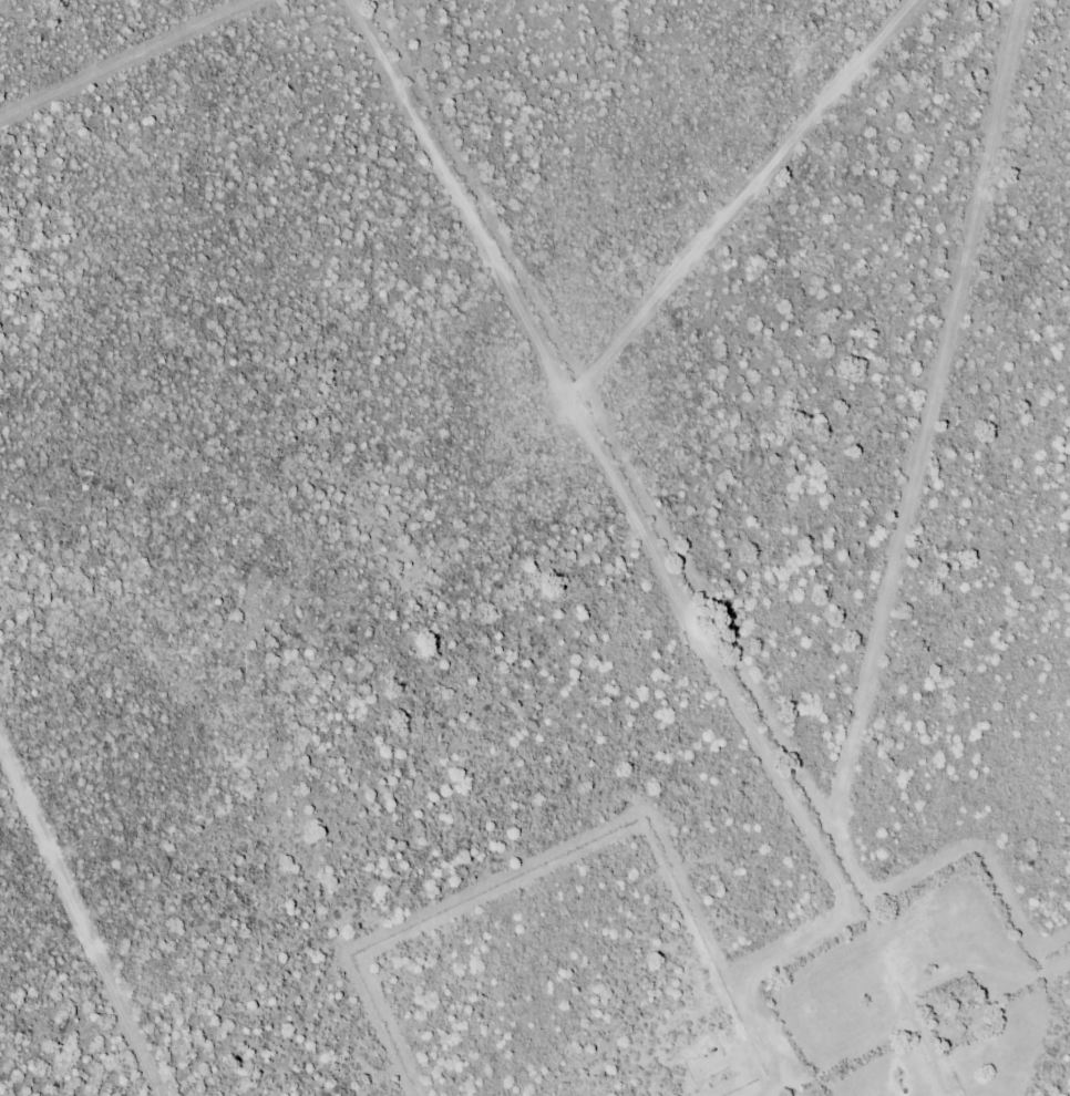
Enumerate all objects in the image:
road: (650, 507)

